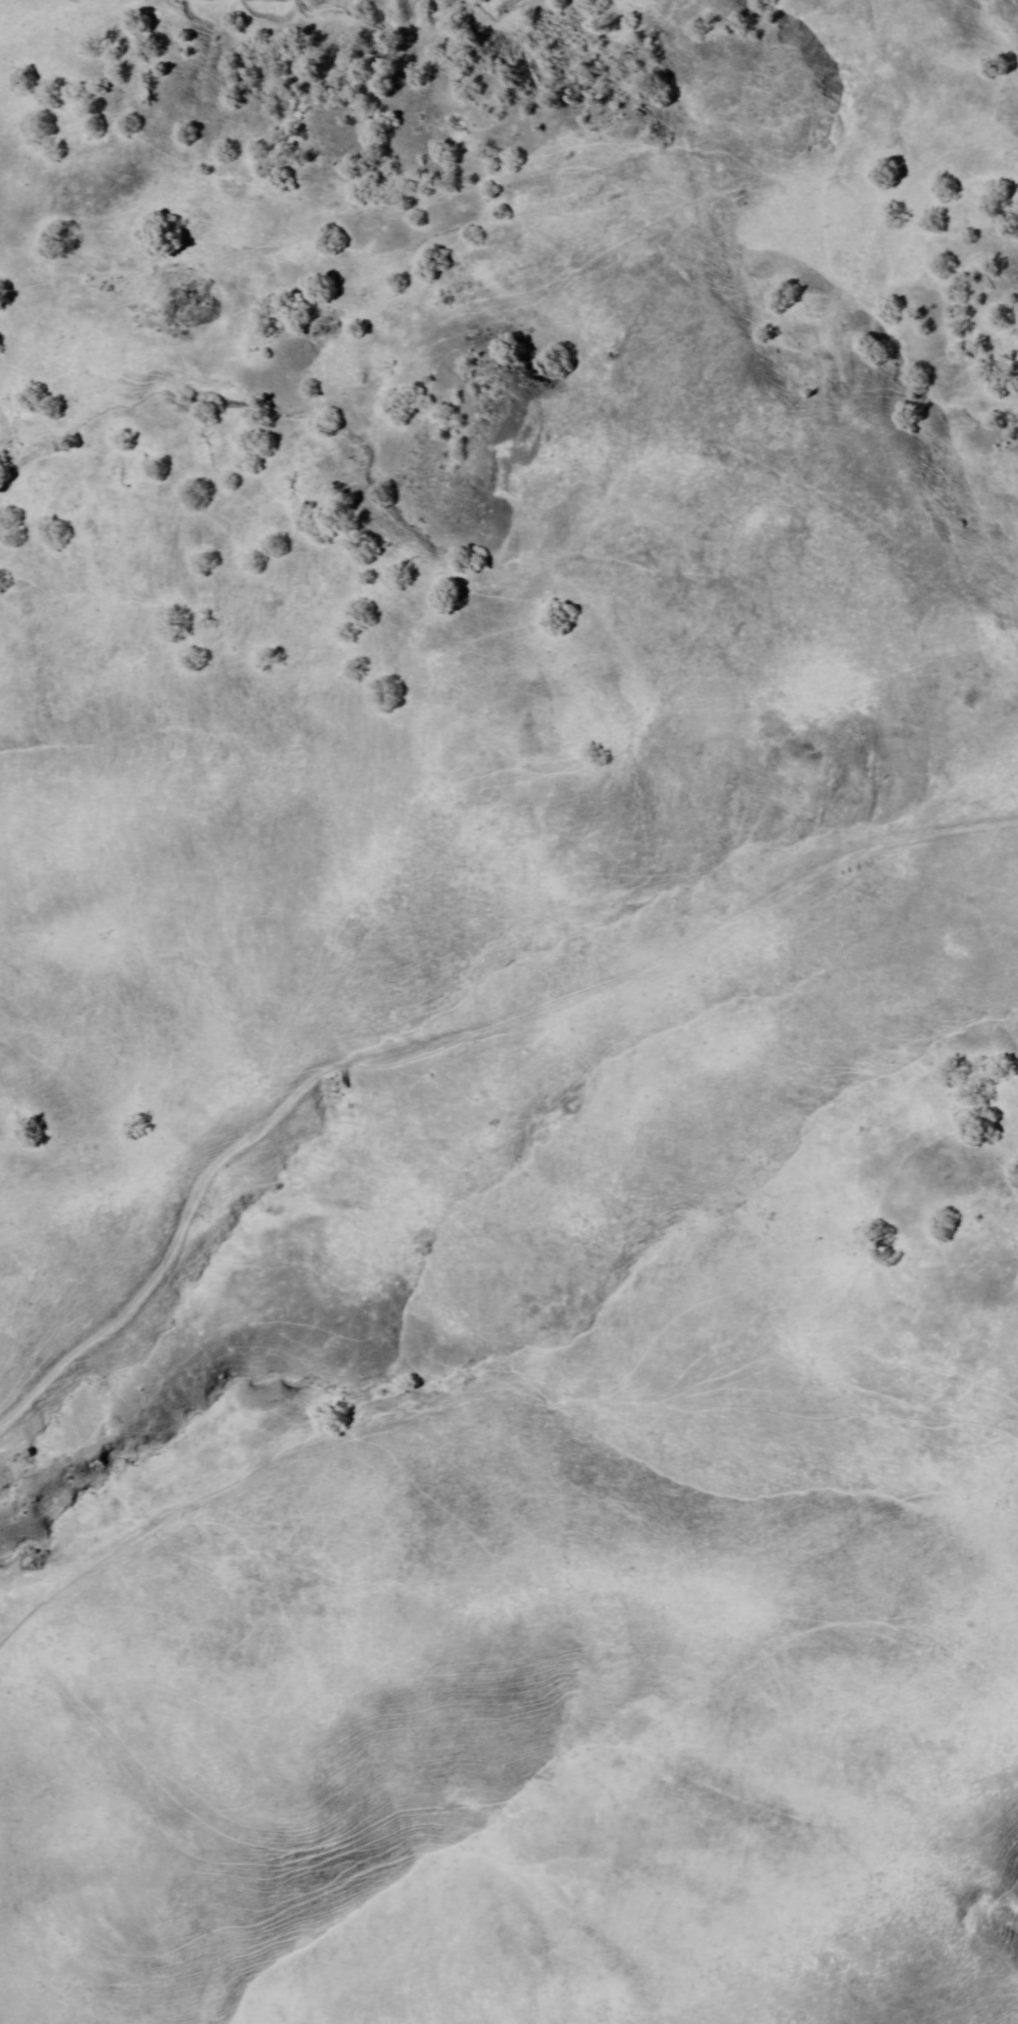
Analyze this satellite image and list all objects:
road: (442, 1034)

